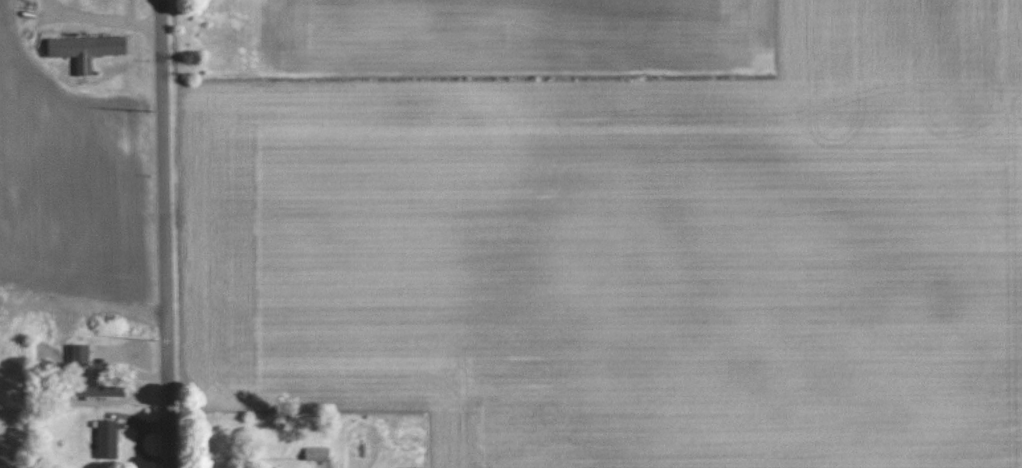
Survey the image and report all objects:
building: (87, 50)
power tower: (148, 110)
road: (160, 234)
power tower: (155, 341)
building: (80, 354)
building: (107, 439)
building: (317, 453)

